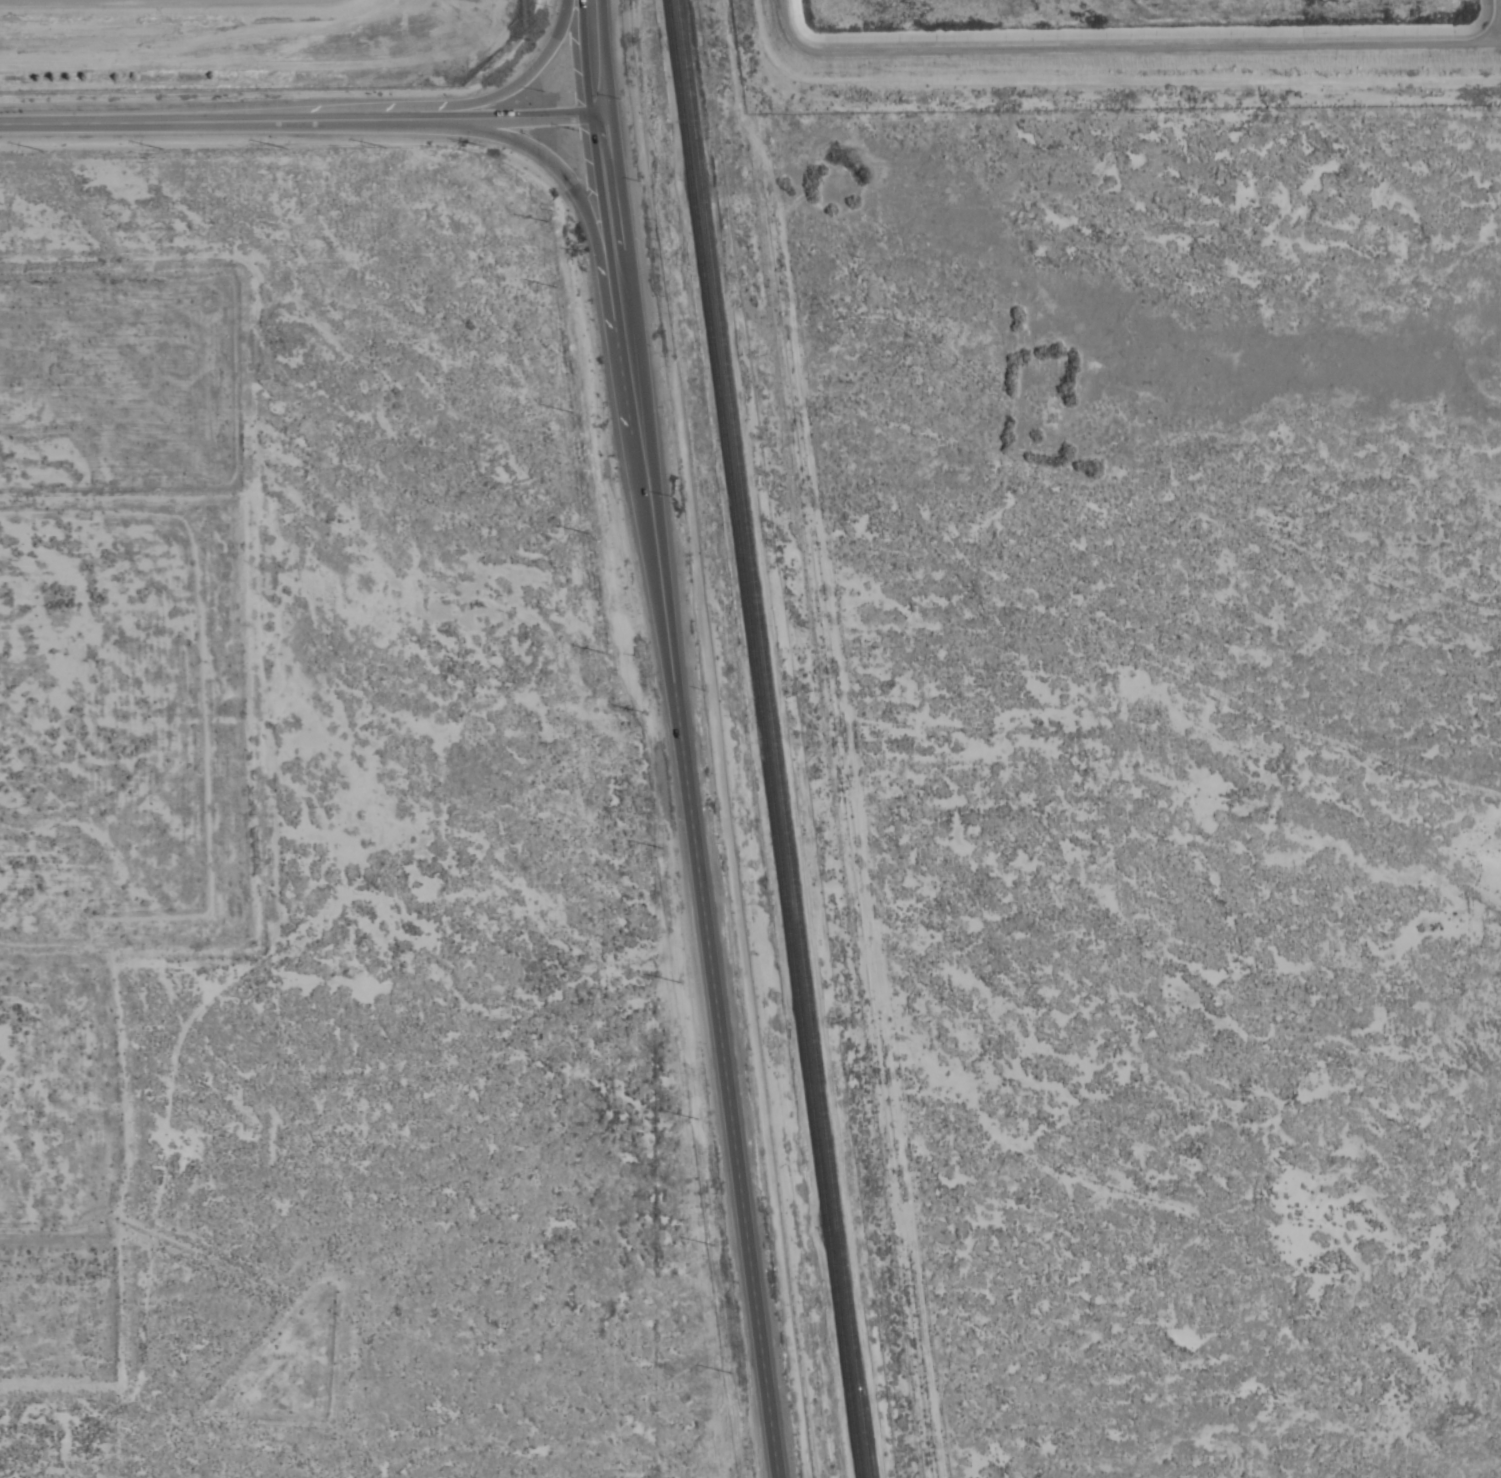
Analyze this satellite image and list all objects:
wastewater plant: (247, 43)
road: (595, 55)
road: (410, 105)
road: (299, 121)
road: (583, 207)
railway: (763, 739)
railway: (773, 739)
road: (842, 739)
road: (685, 794)

